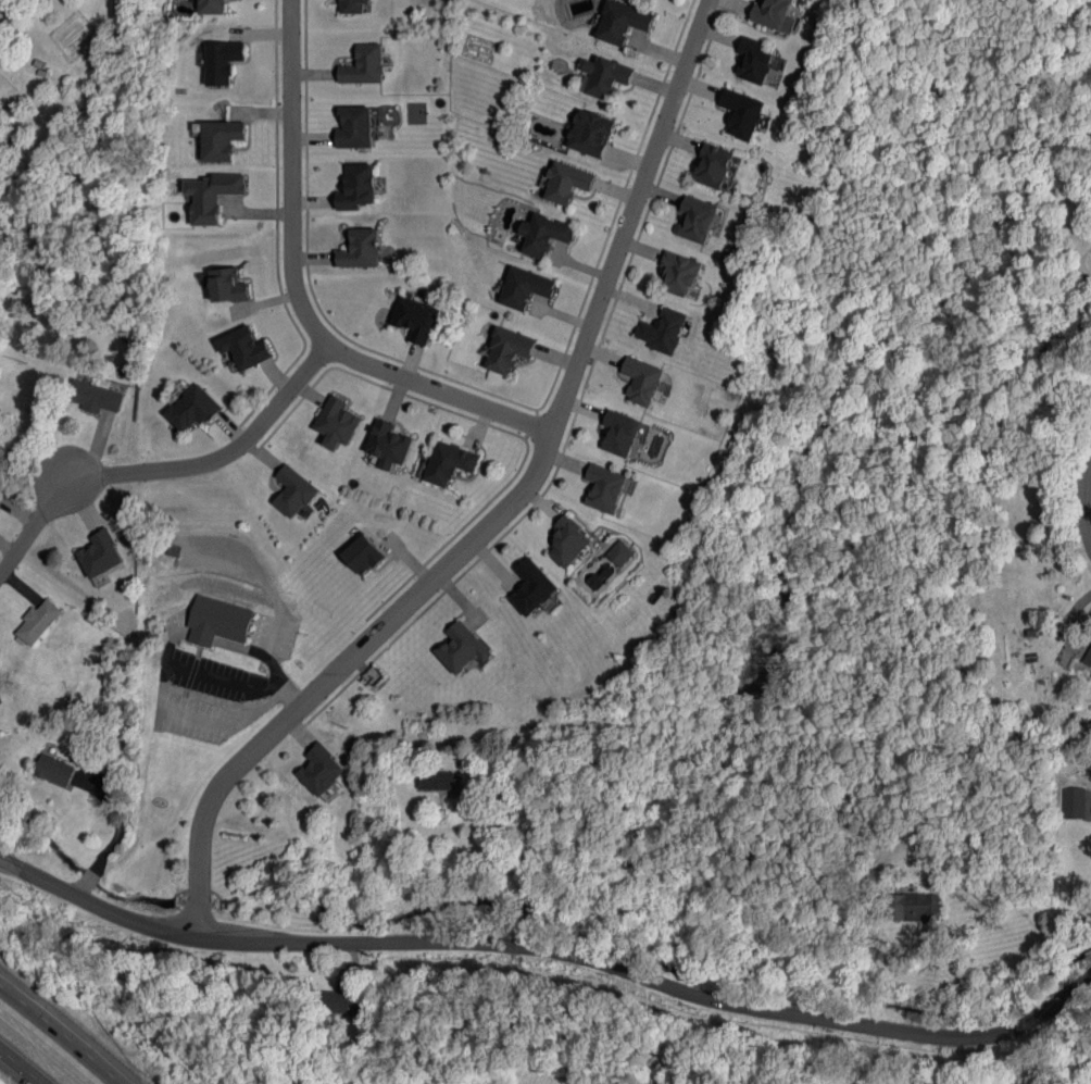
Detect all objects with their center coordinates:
building: (353, 5)
building: (212, 7)
building: (775, 14)
building: (622, 22)
building: (755, 60)
building: (222, 61)
building: (364, 65)
building: (606, 76)
building: (744, 113)
building: (354, 127)
building: (590, 133)
building: (220, 139)
building: (714, 165)
building: (566, 183)
building: (356, 186)
building: (211, 196)
building: (698, 220)
building: (544, 234)
building: (361, 249)
building: (680, 272)
building: (228, 285)
building: (525, 287)
road: (297, 299)
building: (416, 319)
building: (664, 331)
building: (244, 347)
building: (507, 350)
building: (642, 379)
building: (95, 397)
building: (193, 408)
building: (337, 422)
building: (620, 433)
building: (389, 444)
road: (220, 458)
building: (450, 463)
building: (605, 487)
road: (1083, 490)
building: (293, 491)
road: (507, 508)
road: (33, 527)
building: (568, 541)
building: (620, 552)
building: (100, 553)
building: (363, 553)
building: (531, 587)
building: (217, 621)
building: (38, 622)
building: (462, 648)
building: (1088, 657)
road: (163, 682)
building: (55, 770)
building: (321, 770)
building: (435, 780)
building: (1074, 802)
road: (117, 834)
road: (514, 869)
building: (914, 907)
road: (551, 948)
road: (960, 983)
building: (338, 1002)
road: (65, 1029)
road: (21, 1067)

